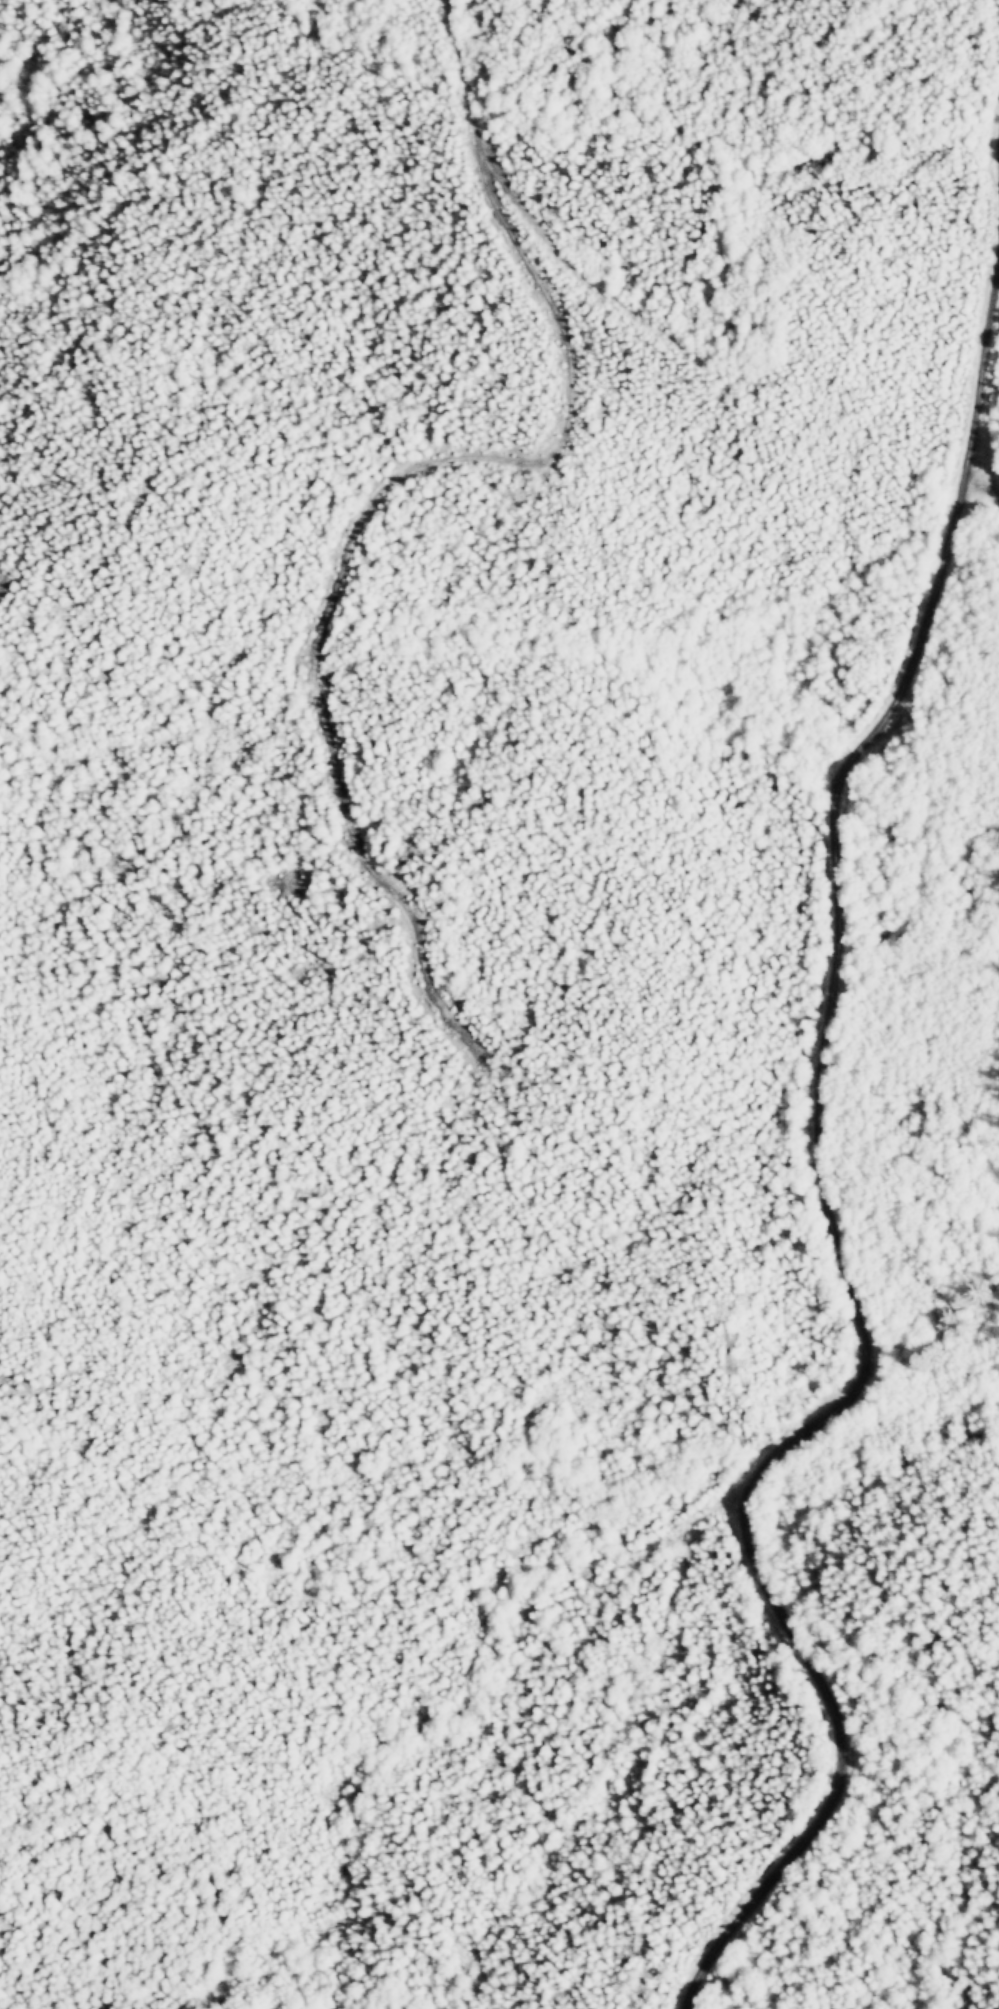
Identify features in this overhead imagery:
road: (981, 398)
road: (816, 1257)

